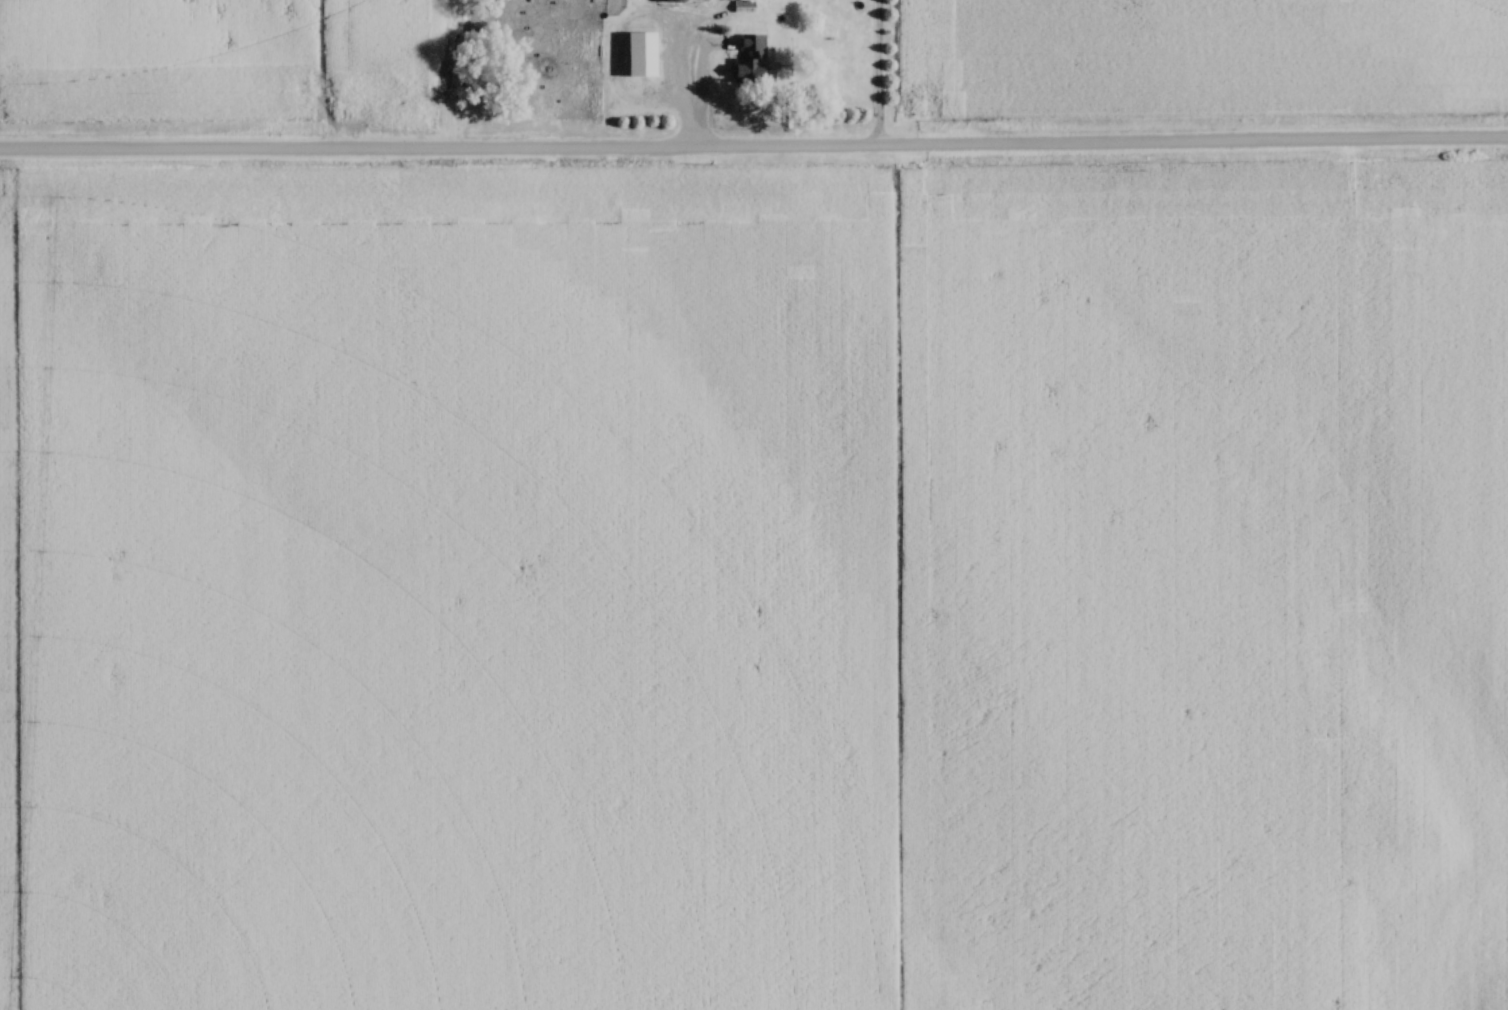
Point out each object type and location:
building: (709, 0)
building: (644, 55)
building: (752, 59)
road: (754, 157)

